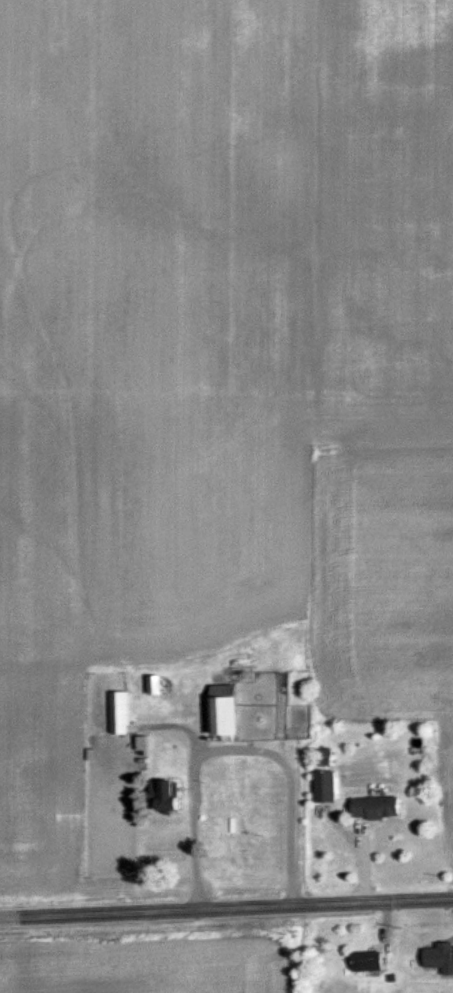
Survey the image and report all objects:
building: (159, 685)
building: (232, 711)
building: (122, 712)
road: (238, 748)
building: (329, 786)
building: (173, 795)
building: (380, 807)
road: (226, 908)
building: (441, 955)
building: (373, 961)

